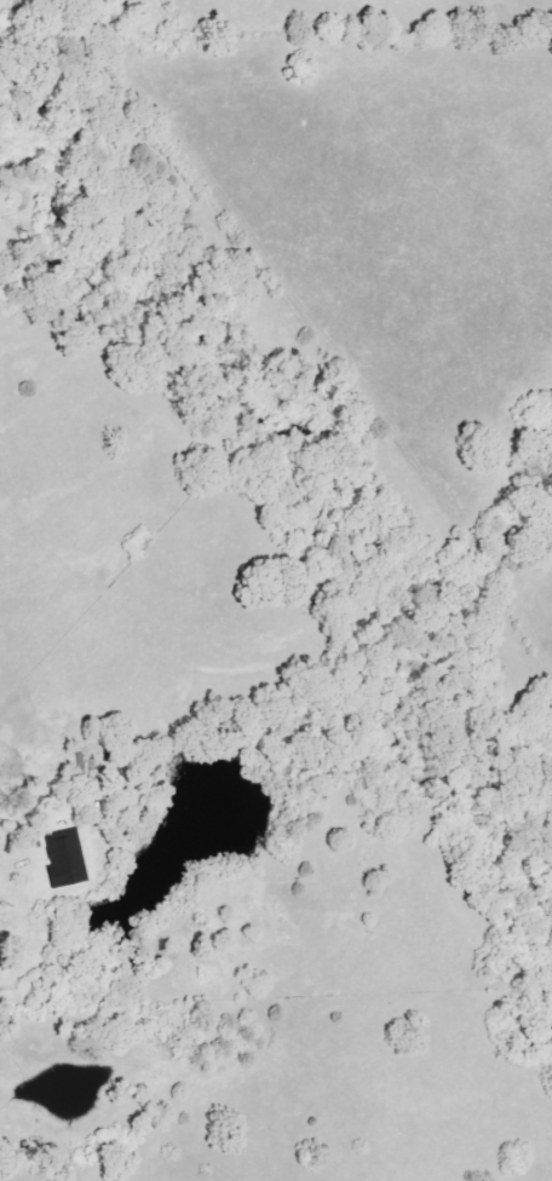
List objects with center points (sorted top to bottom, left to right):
road: (38, 817)

